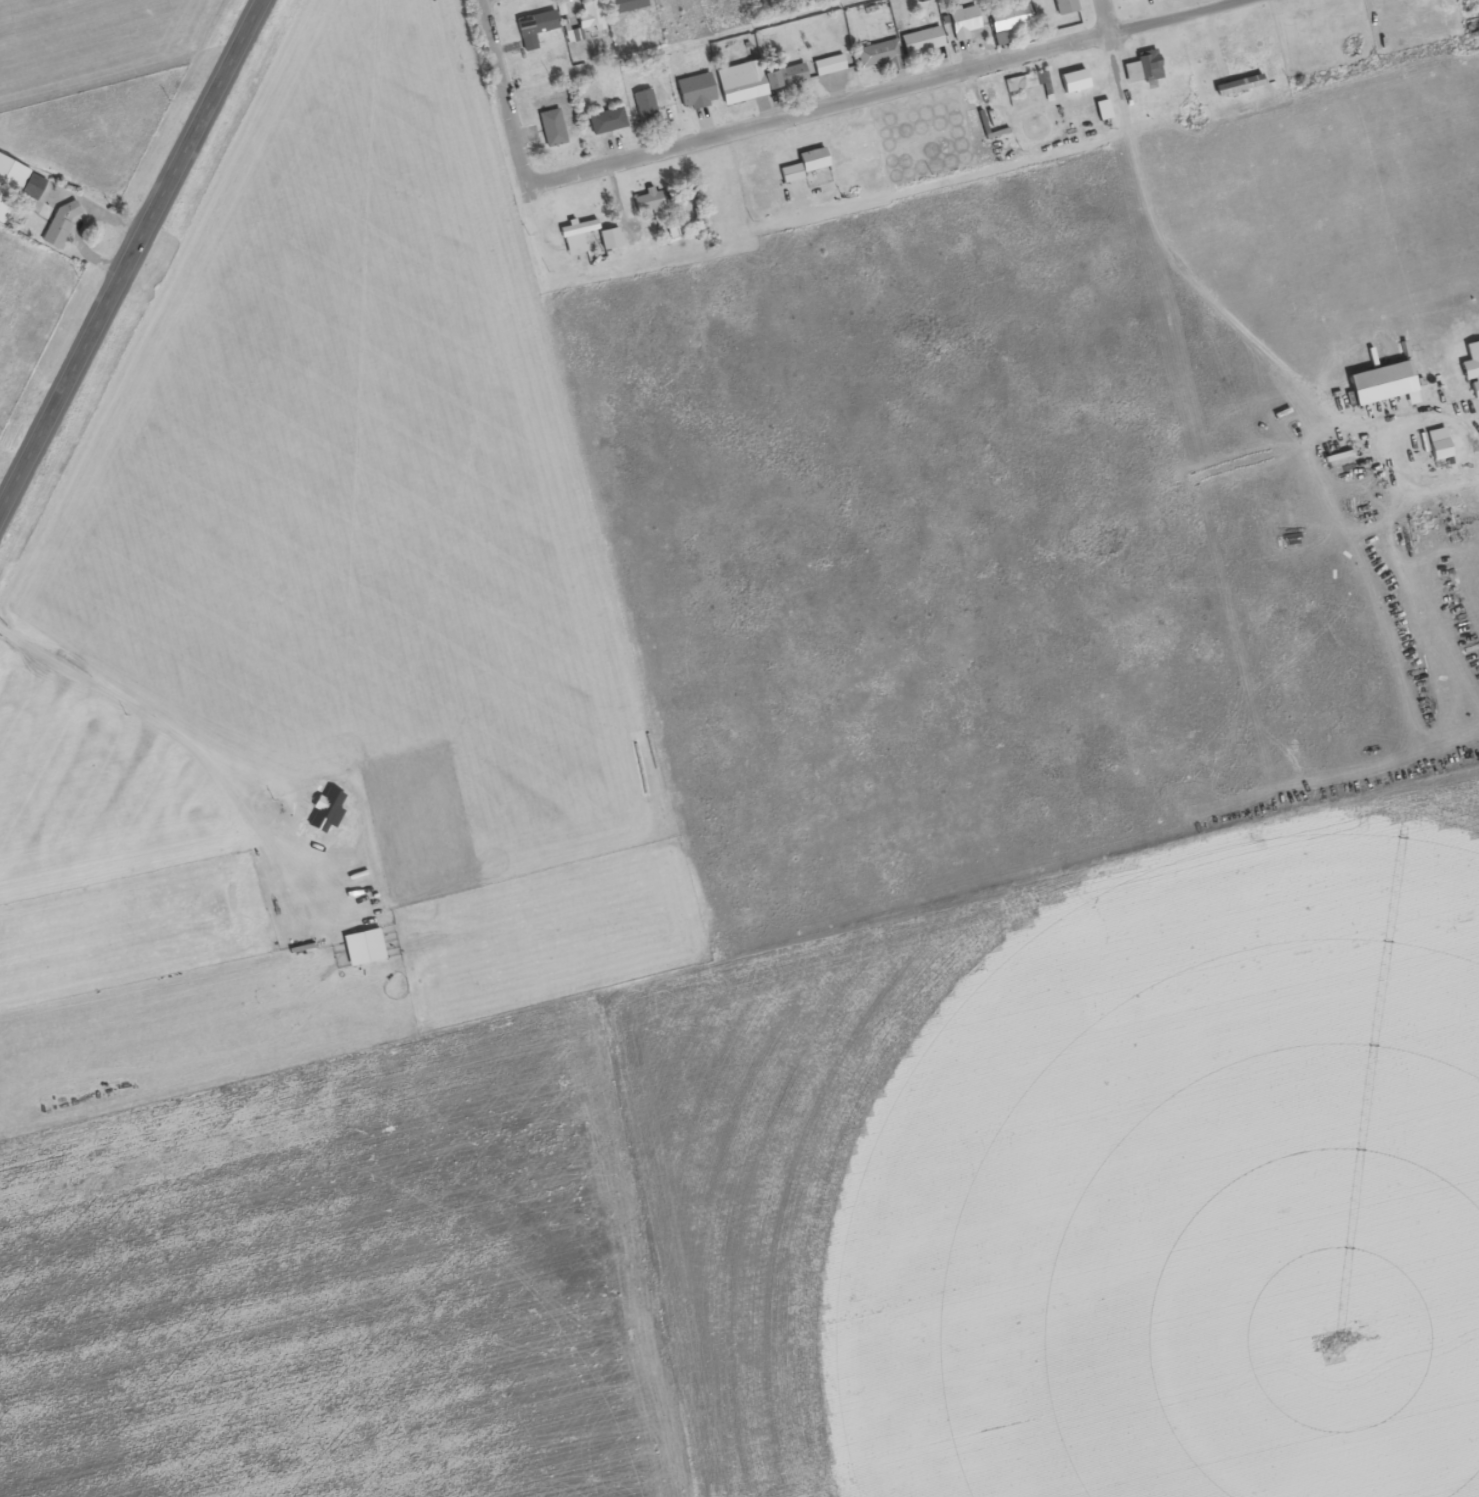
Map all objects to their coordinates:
building: (1126, 0)
building: (628, 5)
building: (1067, 6)
building: (592, 14)
road: (1105, 17)
building: (1011, 21)
building: (967, 23)
building: (537, 28)
building: (924, 41)
building: (883, 56)
building: (830, 66)
building: (1145, 68)
building: (791, 76)
building: (744, 82)
building: (698, 92)
road: (885, 92)
road: (501, 93)
building: (647, 106)
building: (609, 121)
building: (554, 128)
building: (18, 186)
building: (650, 201)
building: (63, 225)
road: (130, 255)

